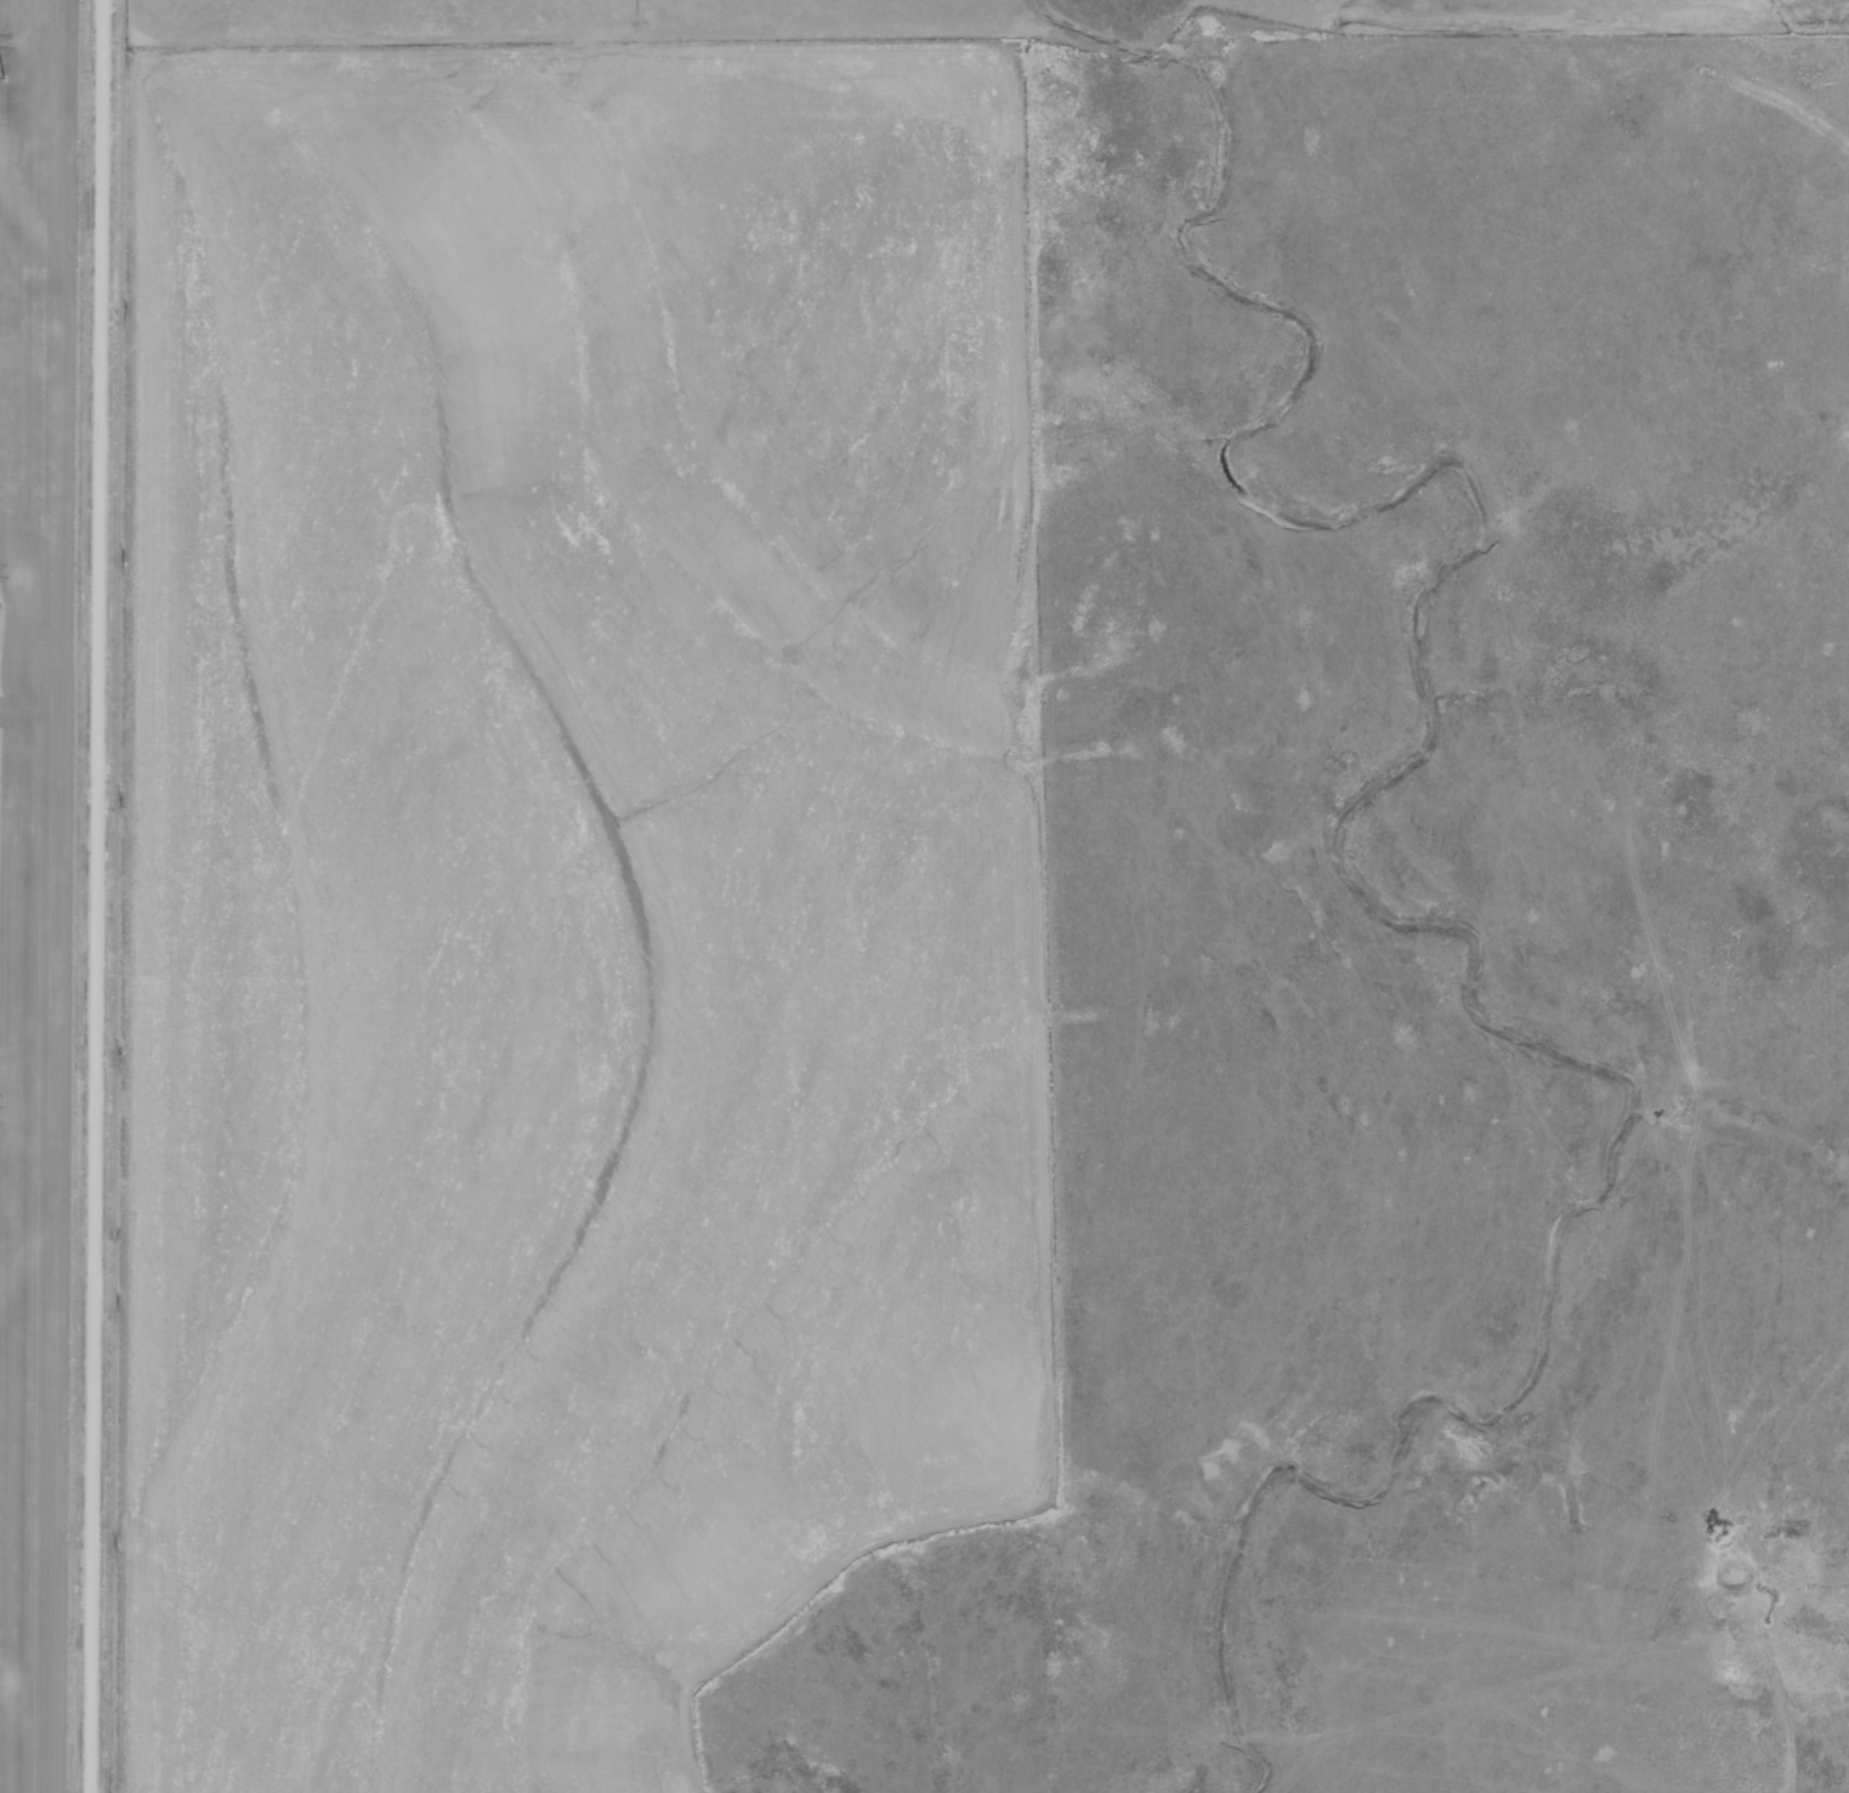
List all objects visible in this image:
power tower: (2, 76)
road: (103, 896)

